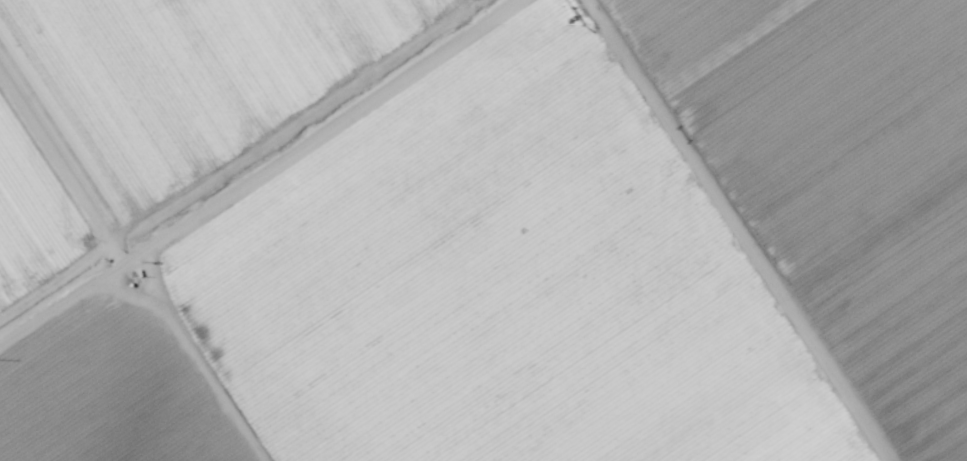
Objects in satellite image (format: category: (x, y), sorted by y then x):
road: (255, 175)
crop: (483, 230)

